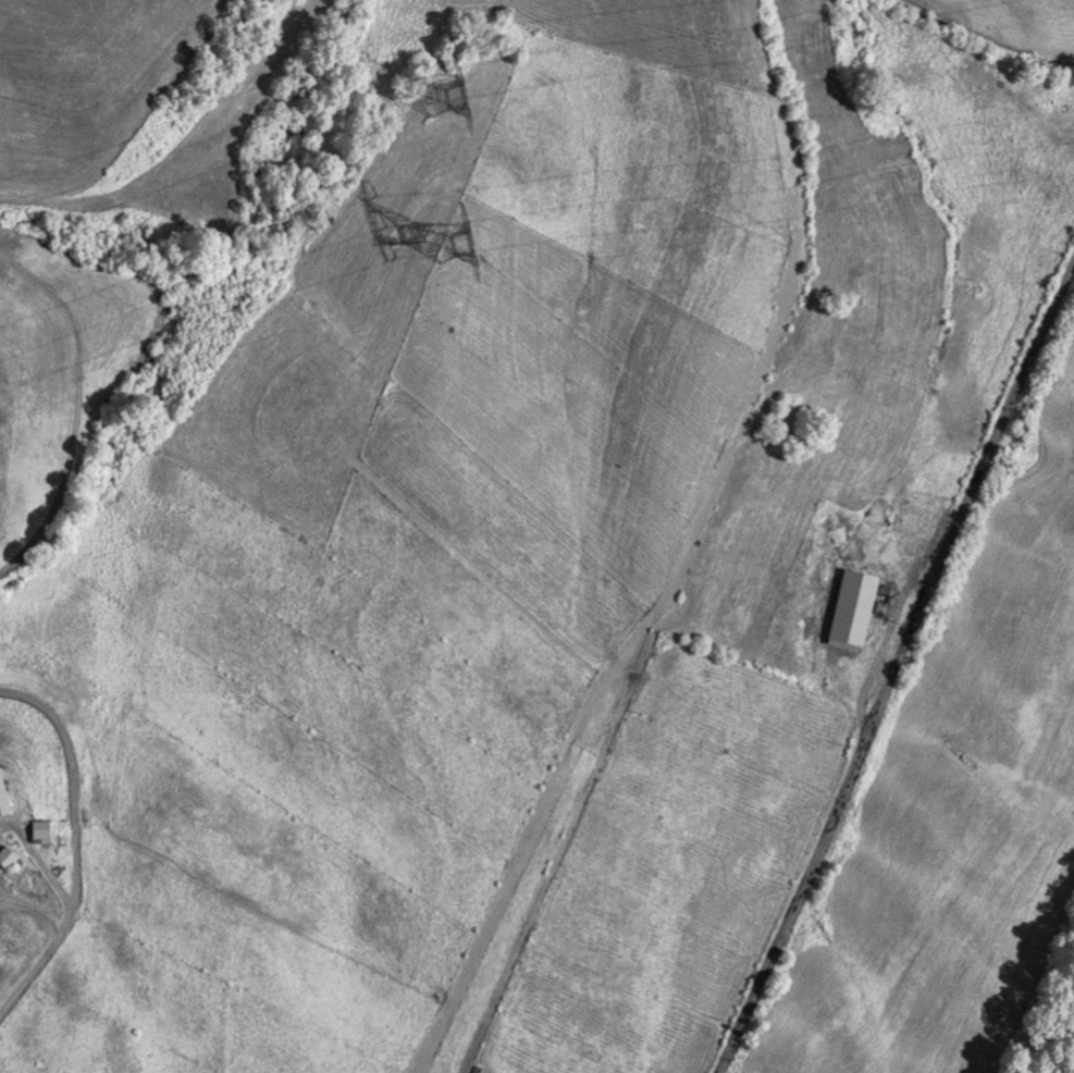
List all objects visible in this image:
power tower: (471, 88)
power tower: (474, 254)
road: (893, 659)

